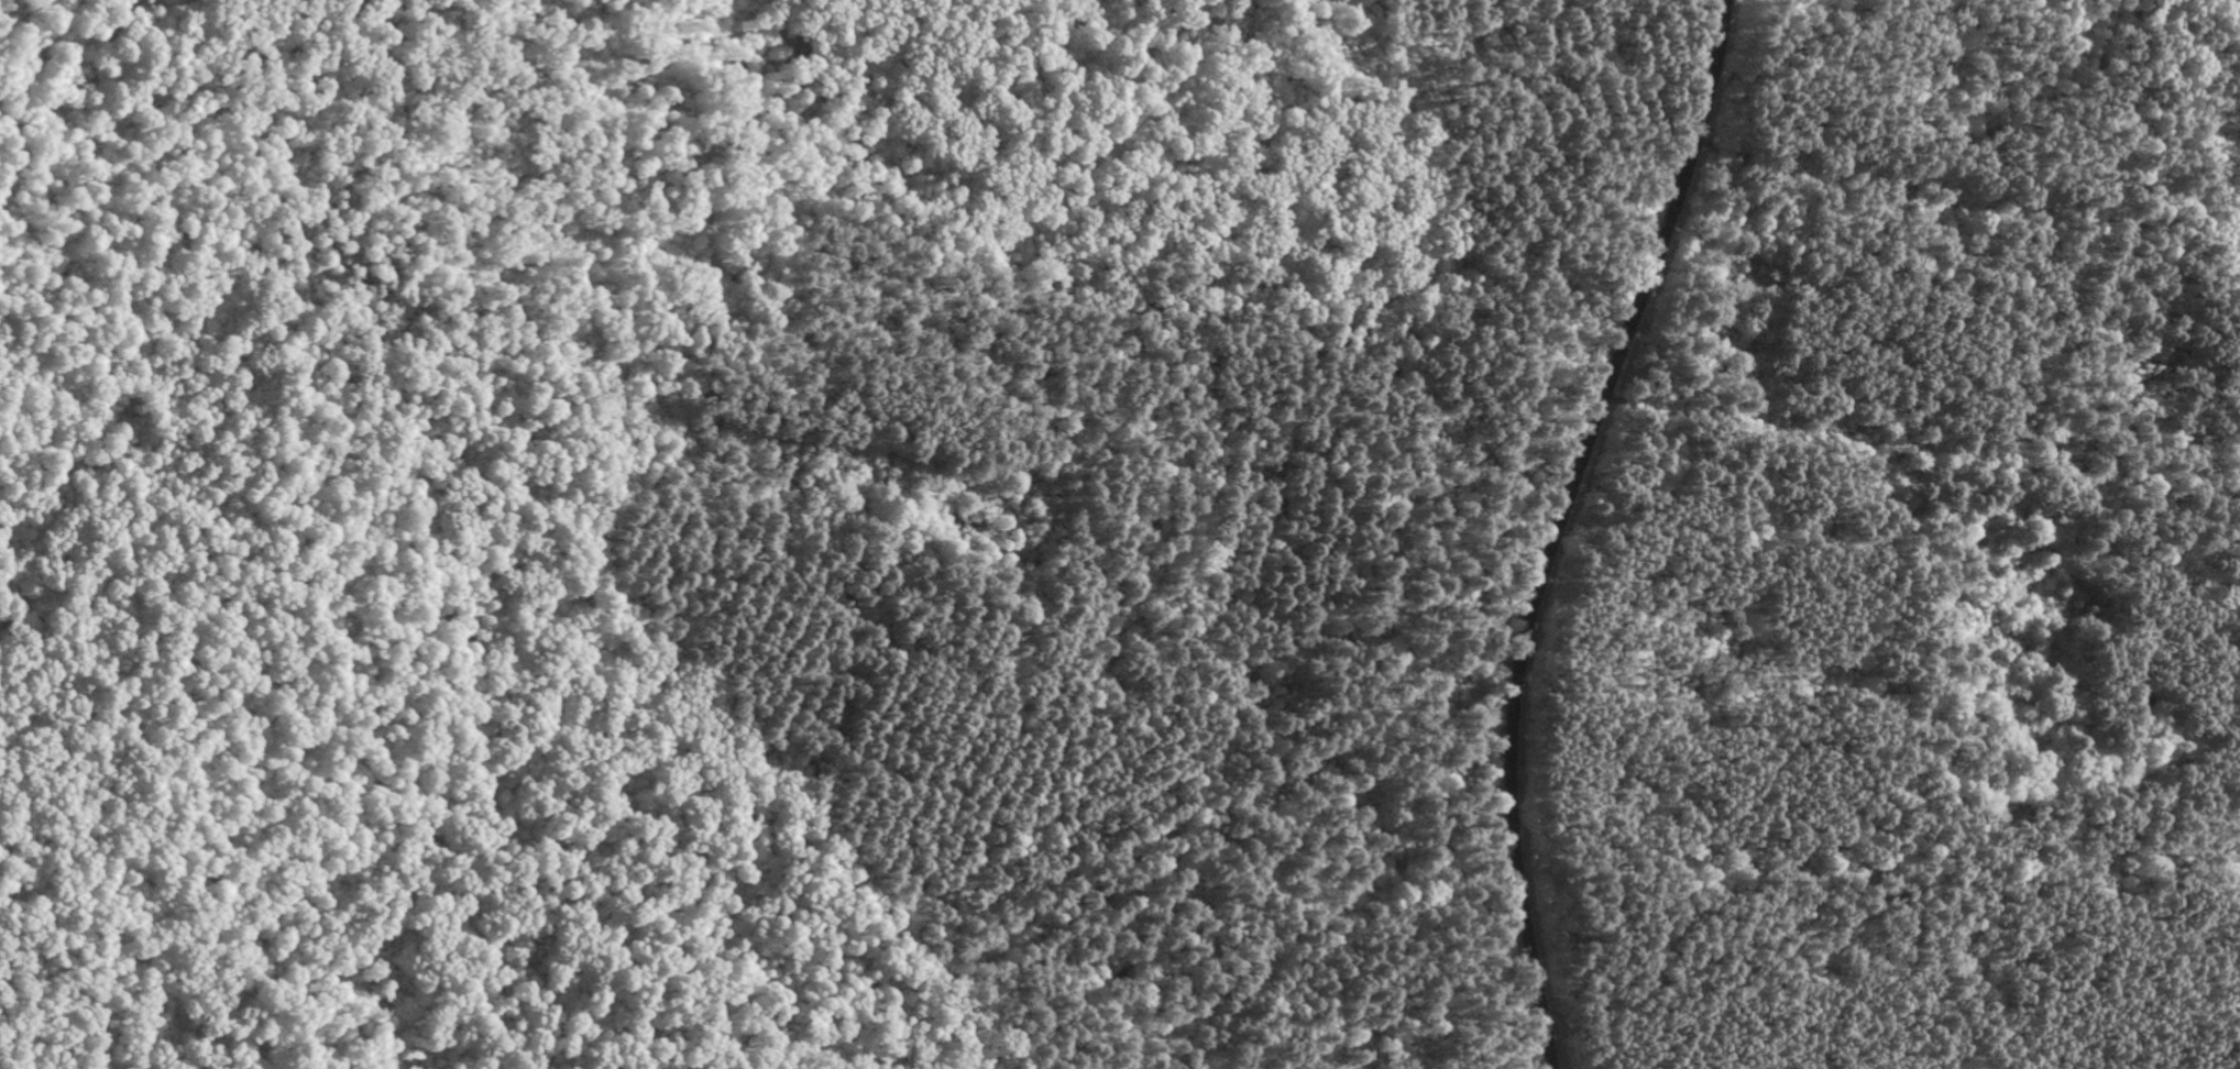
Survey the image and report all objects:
road: (1560, 526)

